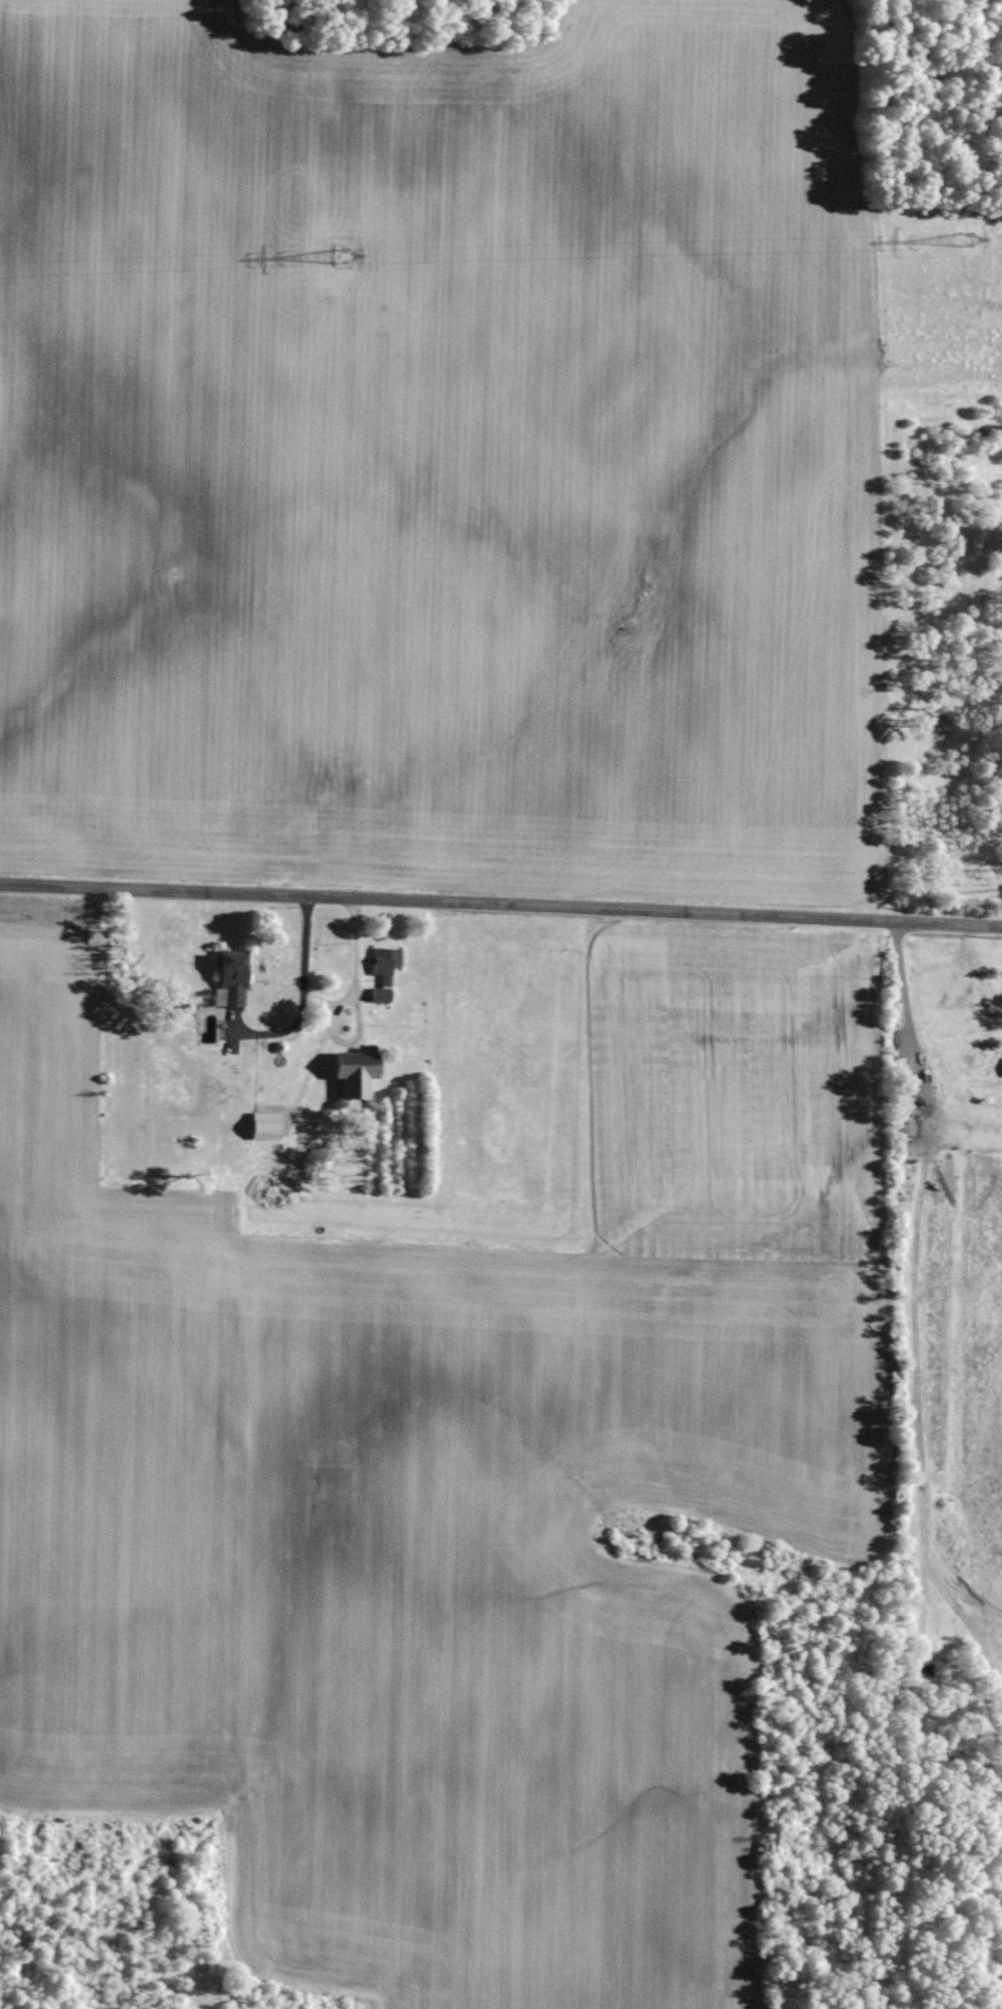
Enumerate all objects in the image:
road: (500, 904)
building: (383, 973)
road: (356, 974)
building: (229, 977)
road: (303, 995)
building: (354, 1071)

